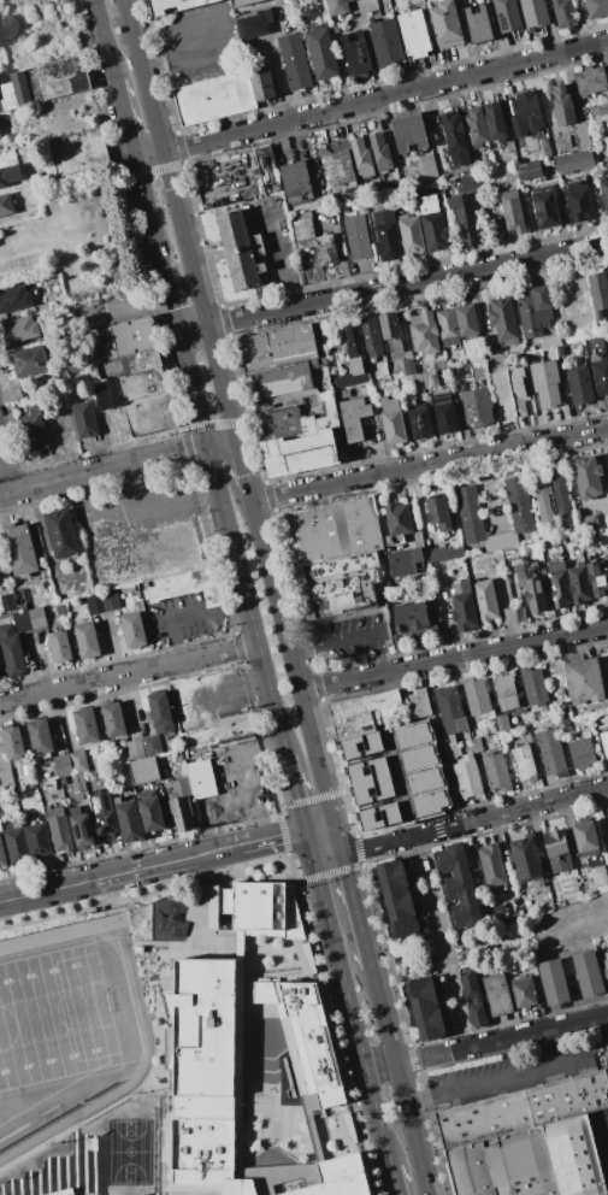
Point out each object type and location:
building: (244, 2)
building: (175, 6)
building: (337, 6)
building: (596, 7)
building: (535, 12)
building: (563, 13)
building: (507, 14)
building: (254, 24)
building: (445, 24)
building: (477, 24)
road: (226, 30)
building: (413, 34)
road: (104, 37)
building: (386, 40)
parking lot: (200, 43)
building: (320, 53)
building: (354, 53)
road: (273, 61)
building: (294, 61)
building: (590, 81)
building: (43, 83)
building: (265, 87)
building: (606, 94)
road: (385, 96)
building: (217, 100)
building: (561, 105)
building: (598, 110)
building: (526, 114)
road: (124, 116)
building: (494, 122)
building: (476, 126)
building: (408, 133)
building: (0, 135)
building: (580, 135)
building: (454, 139)
building: (562, 142)
building: (544, 148)
building: (77, 152)
building: (379, 152)
road: (148, 154)
building: (361, 158)
building: (573, 163)
building: (262, 169)
building: (427, 169)
building: (529, 170)
building: (338, 171)
building: (7, 176)
building: (495, 179)
building: (294, 182)
building: (466, 183)
building: (603, 194)
building: (578, 201)
building: (426, 204)
building: (6, 206)
building: (544, 207)
road: (148, 208)
building: (512, 212)
building: (306, 214)
building: (465, 219)
road: (179, 220)
building: (383, 231)
building: (433, 232)
building: (302, 234)
building: (409, 234)
building: (356, 237)
parking lot: (275, 240)
building: (325, 249)
building: (242, 251)
road: (278, 253)
building: (607, 272)
road: (567, 279)
road: (406, 283)
building: (597, 293)
road: (170, 298)
building: (14, 299)
parking lot: (106, 310)
building: (533, 311)
road: (125, 314)
building: (465, 320)
building: (502, 320)
building: (447, 326)
road: (193, 329)
building: (389, 329)
building: (18, 330)
building: (424, 334)
building: (132, 336)
building: (371, 336)
building: (486, 342)
building: (550, 342)
building: (354, 343)
building: (595, 347)
building: (279, 349)
building: (29, 361)
building: (140, 361)
building: (408, 366)
building: (383, 369)
building: (600, 373)
building: (396, 375)
building: (349, 379)
building: (413, 379)
building: (429, 379)
building: (551, 381)
building: (281, 383)
building: (539, 384)
building: (579, 385)
building: (460, 387)
building: (128, 388)
building: (518, 389)
building: (502, 393)
building: (342, 394)
building: (477, 407)
building: (443, 411)
building: (149, 414)
building: (84, 419)
building: (355, 420)
building: (392, 420)
building: (419, 422)
building: (297, 423)
building: (34, 430)
road: (118, 438)
road: (222, 443)
road: (373, 451)
building: (305, 454)
road: (429, 464)
road: (242, 465)
road: (102, 469)
building: (589, 481)
road: (1, 490)
road: (490, 490)
building: (561, 501)
road: (158, 505)
building: (544, 505)
building: (520, 507)
building: (442, 514)
building: (471, 517)
building: (401, 520)
building: (586, 523)
building: (60, 532)
building: (332, 532)
building: (603, 536)
road: (232, 543)
building: (501, 543)
building: (19, 548)
building: (442, 554)
building: (405, 563)
building: (554, 566)
building: (597, 578)
building: (578, 583)
building: (183, 585)
building: (337, 587)
building: (559, 588)
building: (533, 595)
building: (485, 600)
building: (5, 602)
building: (112, 602)
building: (95, 604)
building: (548, 605)
building: (455, 606)
road: (205, 612)
building: (408, 616)
building: (507, 616)
building: (36, 617)
parking lot: (183, 619)
building: (134, 630)
road: (352, 636)
parking lot: (349, 638)
building: (87, 640)
building: (396, 641)
building: (59, 647)
building: (13, 655)
road: (453, 659)
road: (293, 667)
building: (0, 675)
road: (129, 675)
building: (583, 681)
building: (533, 687)
building: (504, 691)
building: (477, 697)
building: (419, 704)
building: (449, 710)
building: (161, 712)
building: (361, 712)
building: (112, 719)
building: (502, 723)
building: (85, 725)
building: (230, 725)
building: (563, 726)
building: (412, 735)
building: (40, 736)
building: (506, 736)
building: (12, 742)
building: (603, 742)
building: (150, 746)
building: (371, 746)
building: (476, 746)
building: (135, 749)
building: (551, 752)
building: (582, 754)
building: (417, 757)
building: (77, 761)
building: (523, 764)
building: (61, 765)
building: (25, 770)
building: (143, 770)
building: (378, 770)
building: (496, 772)
building: (161, 775)
road: (246, 775)
building: (467, 776)
building: (202, 778)
building: (6, 779)
building: (423, 781)
building: (76, 782)
building: (49, 784)
building: (383, 790)
road: (296, 796)
road: (401, 799)
building: (427, 802)
building: (182, 805)
building: (149, 811)
building: (104, 813)
building: (390, 816)
building: (129, 820)
road: (473, 822)
building: (81, 828)
building: (59, 830)
traffic signals: (308, 838)
building: (584, 838)
building: (36, 840)
road: (324, 842)
building: (16, 846)
traffic signals: (340, 846)
building: (556, 850)
building: (1, 856)
building: (525, 859)
road: (153, 865)
building: (491, 865)
building: (596, 871)
building: (459, 887)
building: (397, 900)
building: (252, 906)
road: (354, 906)
road: (326, 912)
building: (515, 918)
track: (90, 924)
road: (441, 942)
building: (606, 966)
building: (588, 973)
building: (553, 982)
building: (523, 991)
building: (496, 995)
building: (473, 1001)
building: (424, 1007)
park: (53, 1016)
road: (382, 1016)
road: (356, 1029)
track: (61, 1031)
building: (301, 1032)
road: (501, 1040)
road: (550, 1048)
building: (199, 1065)
road: (380, 1067)
road: (501, 1078)
building: (523, 1109)
road: (379, 1119)
road: (411, 1129)
park: (128, 1150)
building: (530, 1162)
building: (331, 1177)
road: (394, 1181)
building: (65, 1193)

